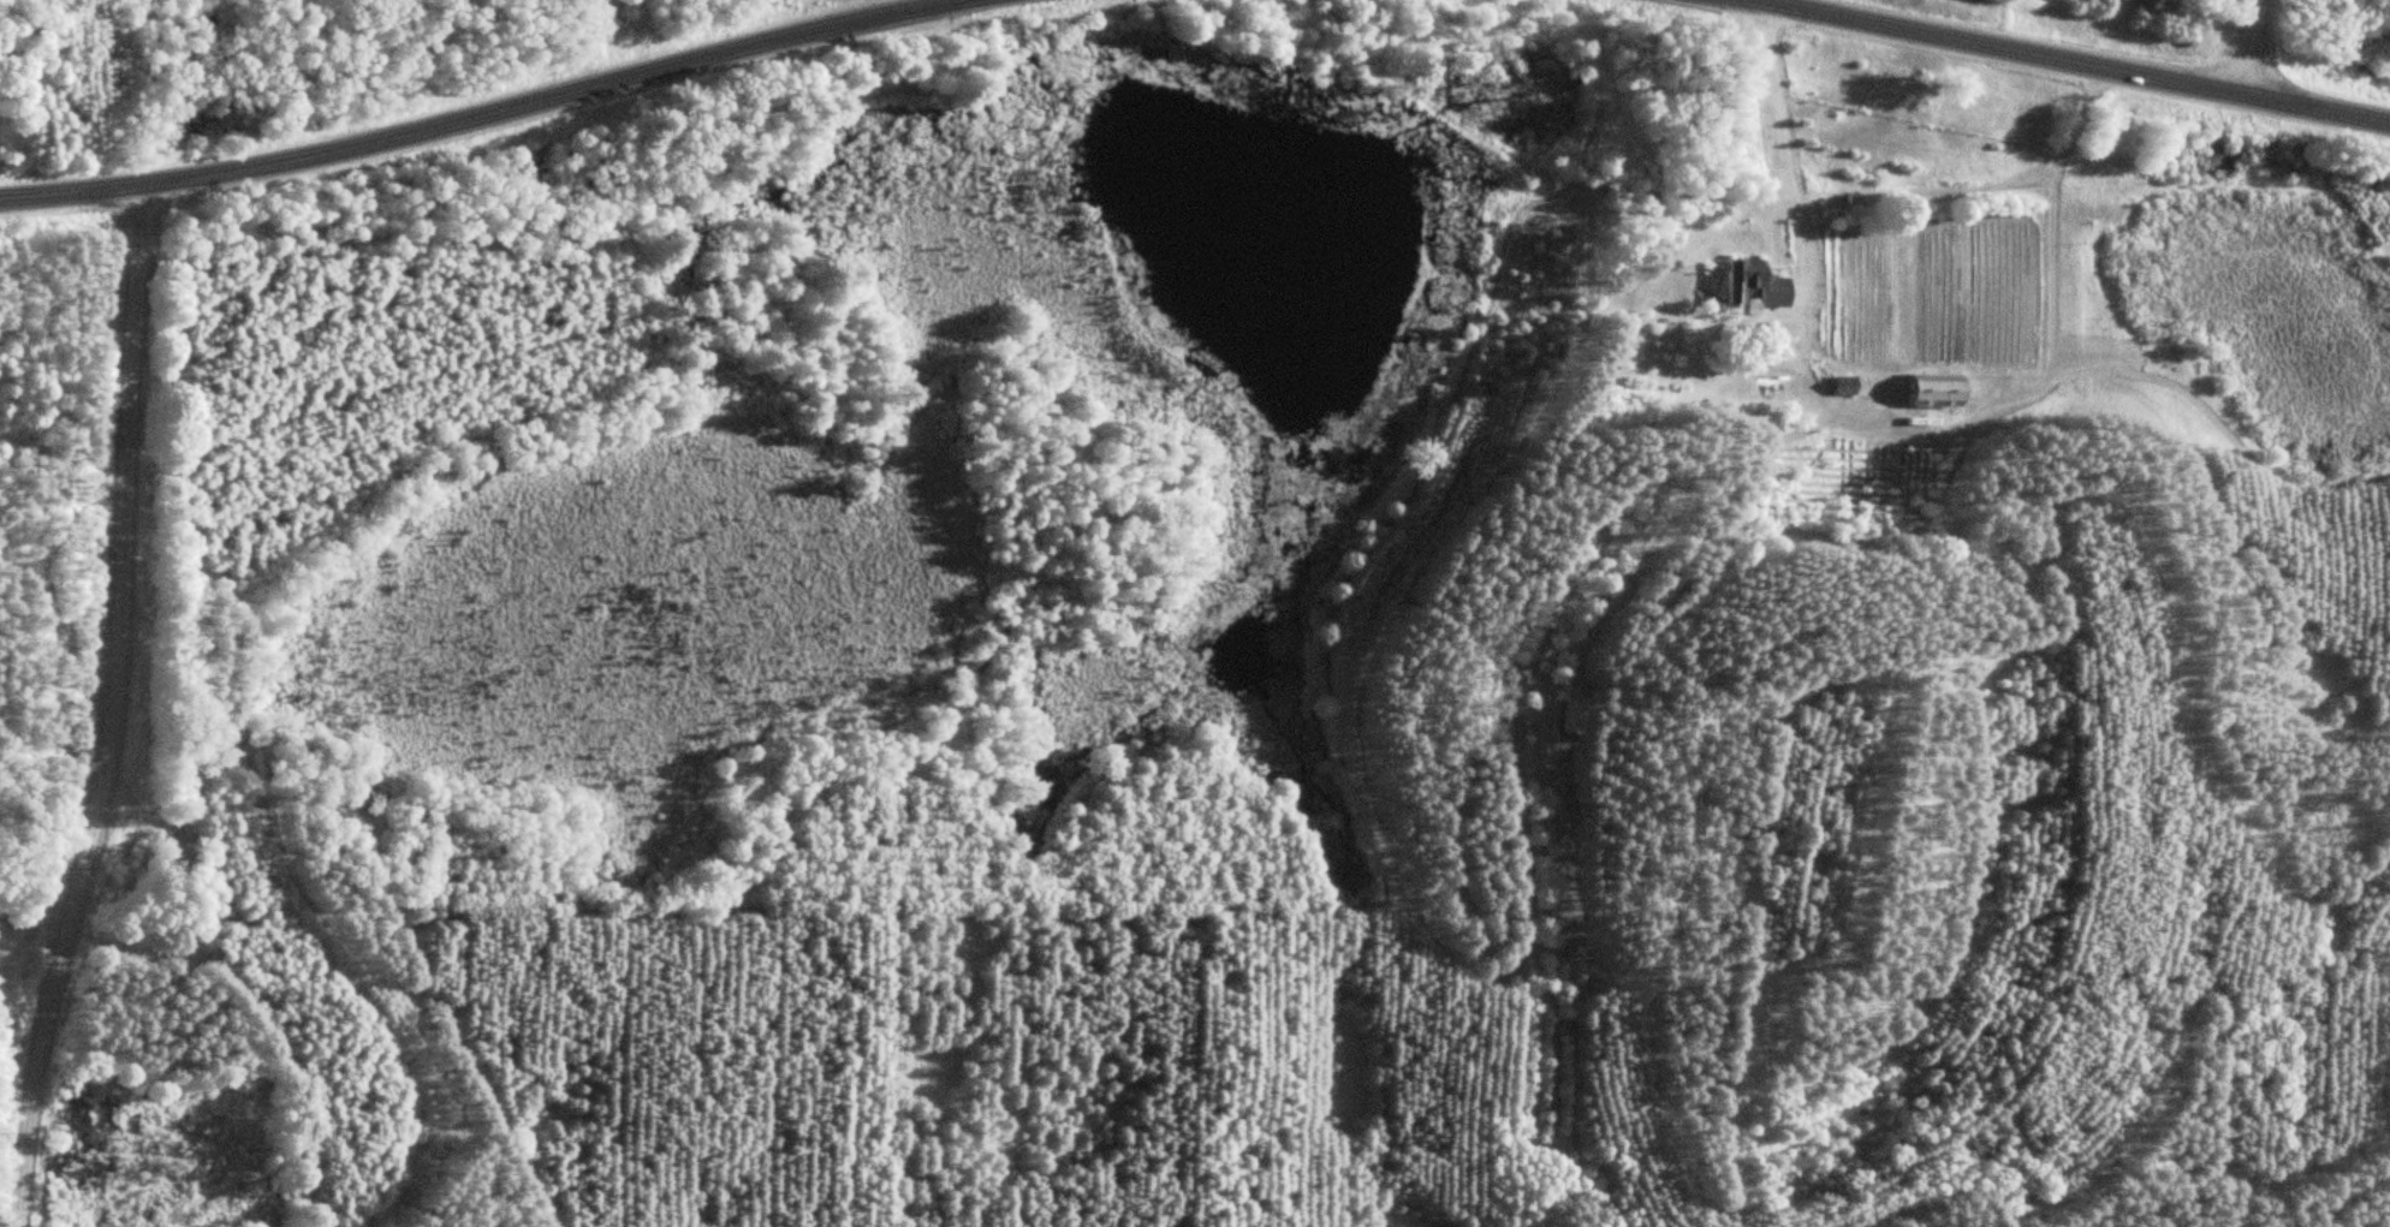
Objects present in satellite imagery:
road: (2258, 48)
road: (2075, 61)
road: (471, 113)
building: (1759, 280)
building: (1850, 383)
building: (1945, 387)
road: (111, 708)

